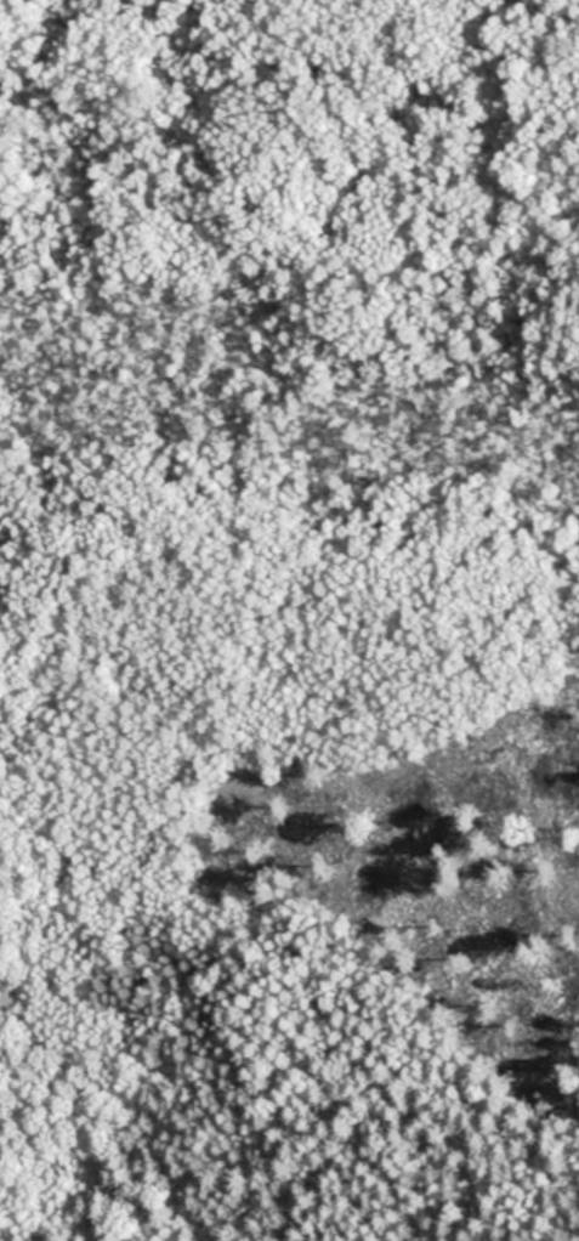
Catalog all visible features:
park: (289, 620)

